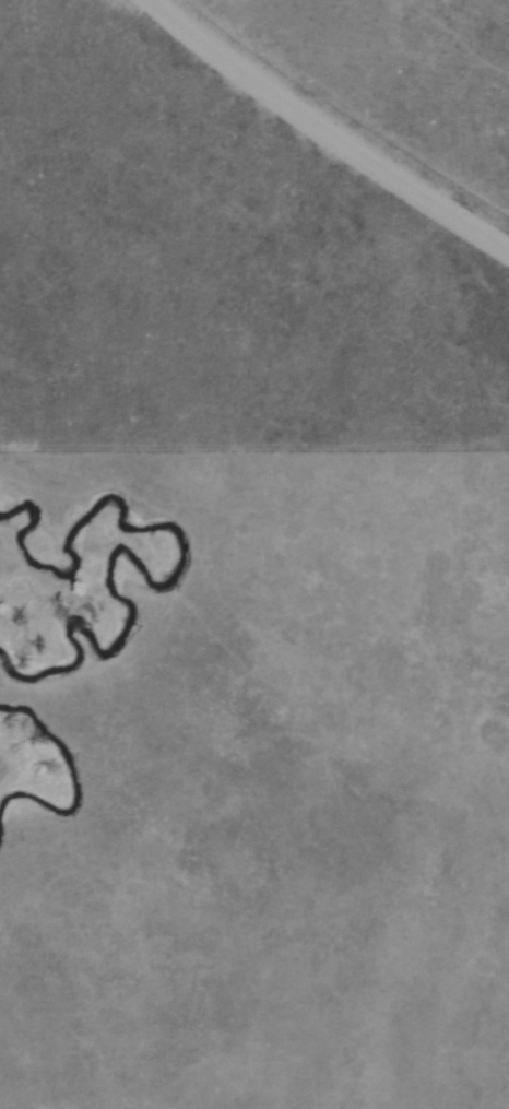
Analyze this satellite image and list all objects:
road: (315, 140)

